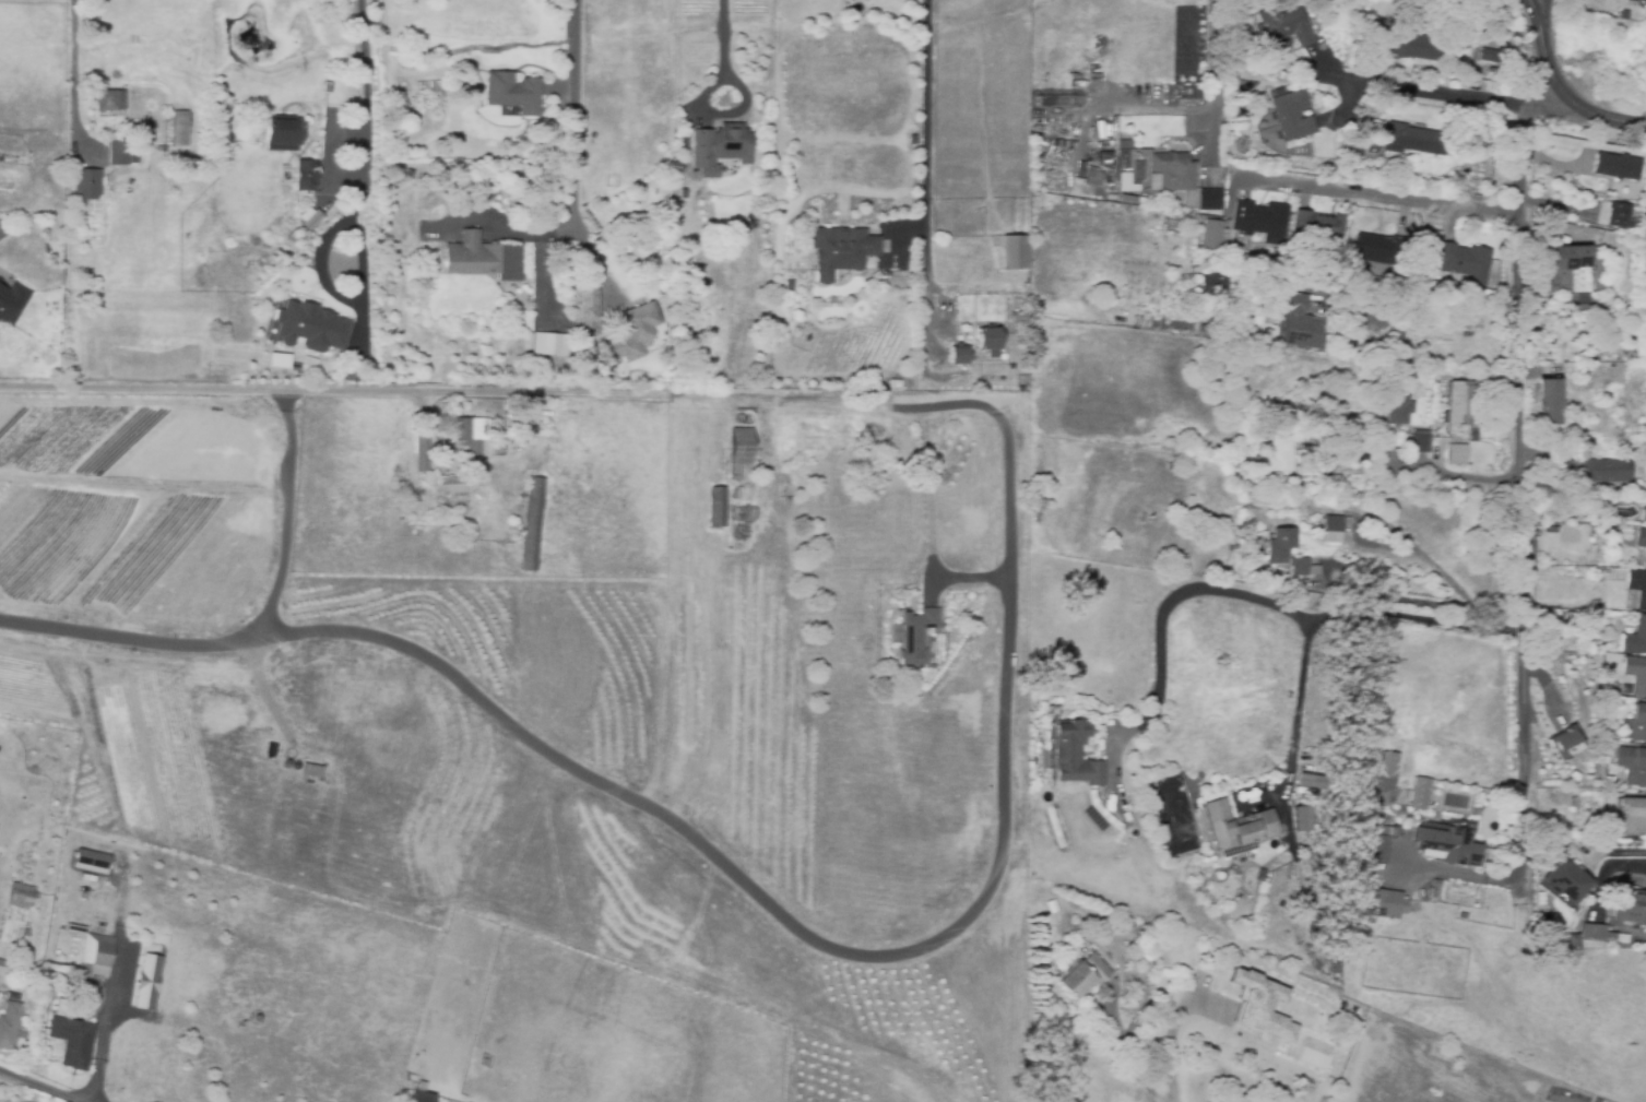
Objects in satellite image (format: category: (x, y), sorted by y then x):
road: (1535, 12)
road: (1541, 12)
building: (1283, 28)
building: (1406, 46)
road: (722, 47)
road: (73, 58)
road: (1213, 68)
road: (366, 71)
building: (1245, 82)
road: (1422, 90)
building: (512, 93)
road: (1570, 98)
building: (109, 104)
building: (1235, 115)
road: (575, 116)
building: (1293, 116)
building: (179, 130)
building: (280, 134)
building: (1414, 140)
building: (1372, 146)
building: (720, 149)
building: (163, 150)
building: (119, 157)
building: (1617, 165)
building: (768, 166)
building: (1172, 171)
building: (305, 175)
building: (1093, 179)
building: (86, 183)
road: (924, 192)
road: (1381, 193)
building: (1211, 200)
road: (1567, 209)
building: (1617, 214)
building: (309, 216)
building: (1262, 221)
building: (1179, 225)
building: (1319, 226)
building: (1212, 235)
building: (1431, 237)
building: (843, 248)
building: (1381, 250)
building: (1015, 252)
building: (482, 259)
building: (1466, 263)
building: (1567, 269)
building: (1215, 283)
building: (836, 297)
building: (11, 303)
building: (1582, 309)
building: (590, 310)
building: (1300, 322)
building: (311, 325)
building: (637, 332)
building: (990, 341)
building: (550, 345)
building: (1548, 349)
building: (959, 355)
road: (1514, 364)
building: (1021, 372)
road: (120, 386)
building: (893, 386)
road: (454, 390)
road: (754, 398)
building: (1552, 402)
building: (1460, 404)
building: (1399, 410)
road: (431, 425)
building: (892, 431)
building: (472, 432)
building: (1421, 442)
building: (738, 450)
building: (1455, 453)
building: (422, 454)
building: (1280, 454)
building: (1171, 466)
building: (1571, 471)
building: (1608, 471)
building: (448, 485)
building: (520, 493)
building: (717, 506)
road: (285, 517)
building: (1644, 517)
building: (1142, 518)
building: (531, 525)
building: (1334, 529)
building: (1550, 529)
building: (1283, 543)
building: (1642, 545)
road: (1420, 556)
building: (1303, 567)
building: (1638, 586)
road: (1401, 596)
road: (1167, 604)
road: (1481, 616)
road: (1316, 619)
road: (1505, 625)
building: (917, 636)
building: (1636, 638)
building: (1636, 674)
building: (1053, 712)
building: (1638, 723)
building: (1565, 742)
building: (270, 750)
building: (1075, 756)
building: (1633, 766)
building: (1377, 771)
building: (311, 772)
building: (1612, 781)
building: (1419, 793)
building: (1634, 816)
road: (1518, 817)
building: (1296, 820)
building: (1238, 826)
building: (1378, 842)
building: (1446, 845)
building: (90, 862)
road: (1604, 873)
building: (1566, 880)
building: (21, 897)
building: (1382, 903)
building: (1632, 907)
road: (784, 923)
building: (1600, 932)
building: (23, 938)
building: (1573, 939)
building: (93, 948)
building: (1334, 958)
building: (7, 965)
building: (82, 973)
building: (1083, 975)
building: (147, 982)
building: (1260, 1005)
building: (66, 1006)
building: (9, 1026)
building: (76, 1039)
road: (1165, 1050)
road: (1129, 1058)
road: (37, 1086)
building: (421, 1098)

